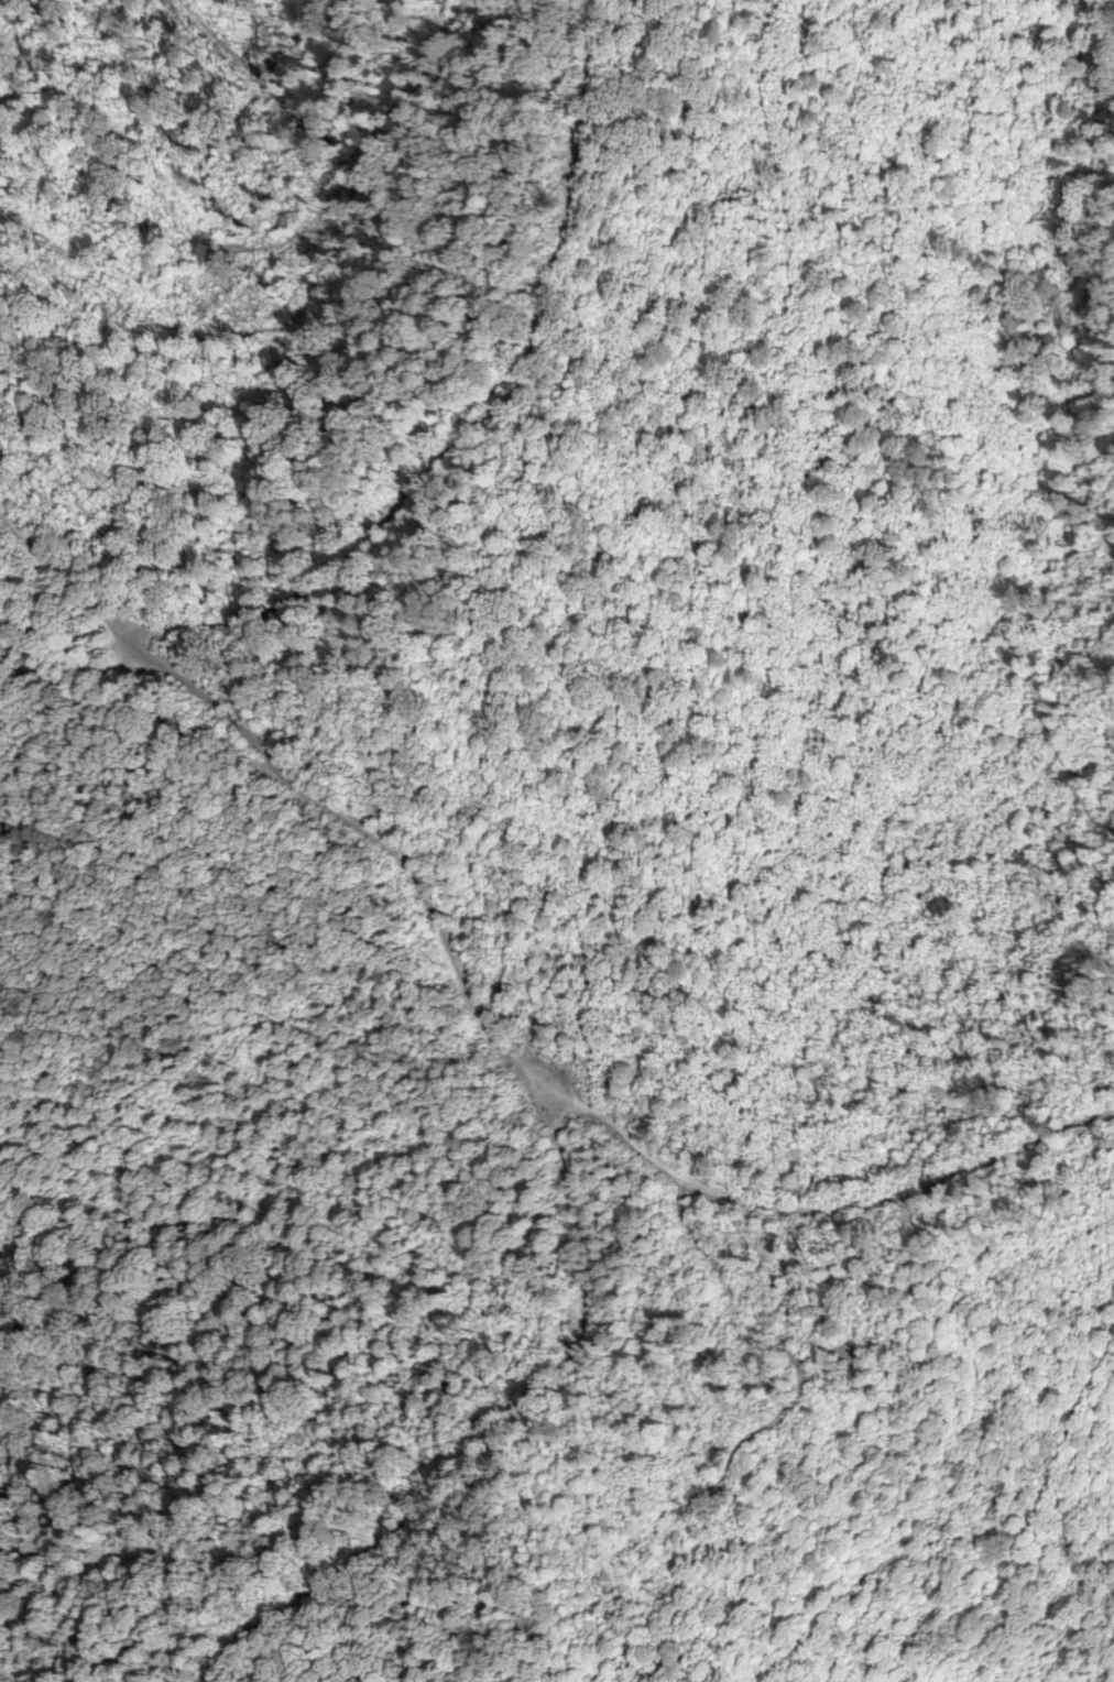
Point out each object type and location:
road: (873, 488)
road: (545, 931)

